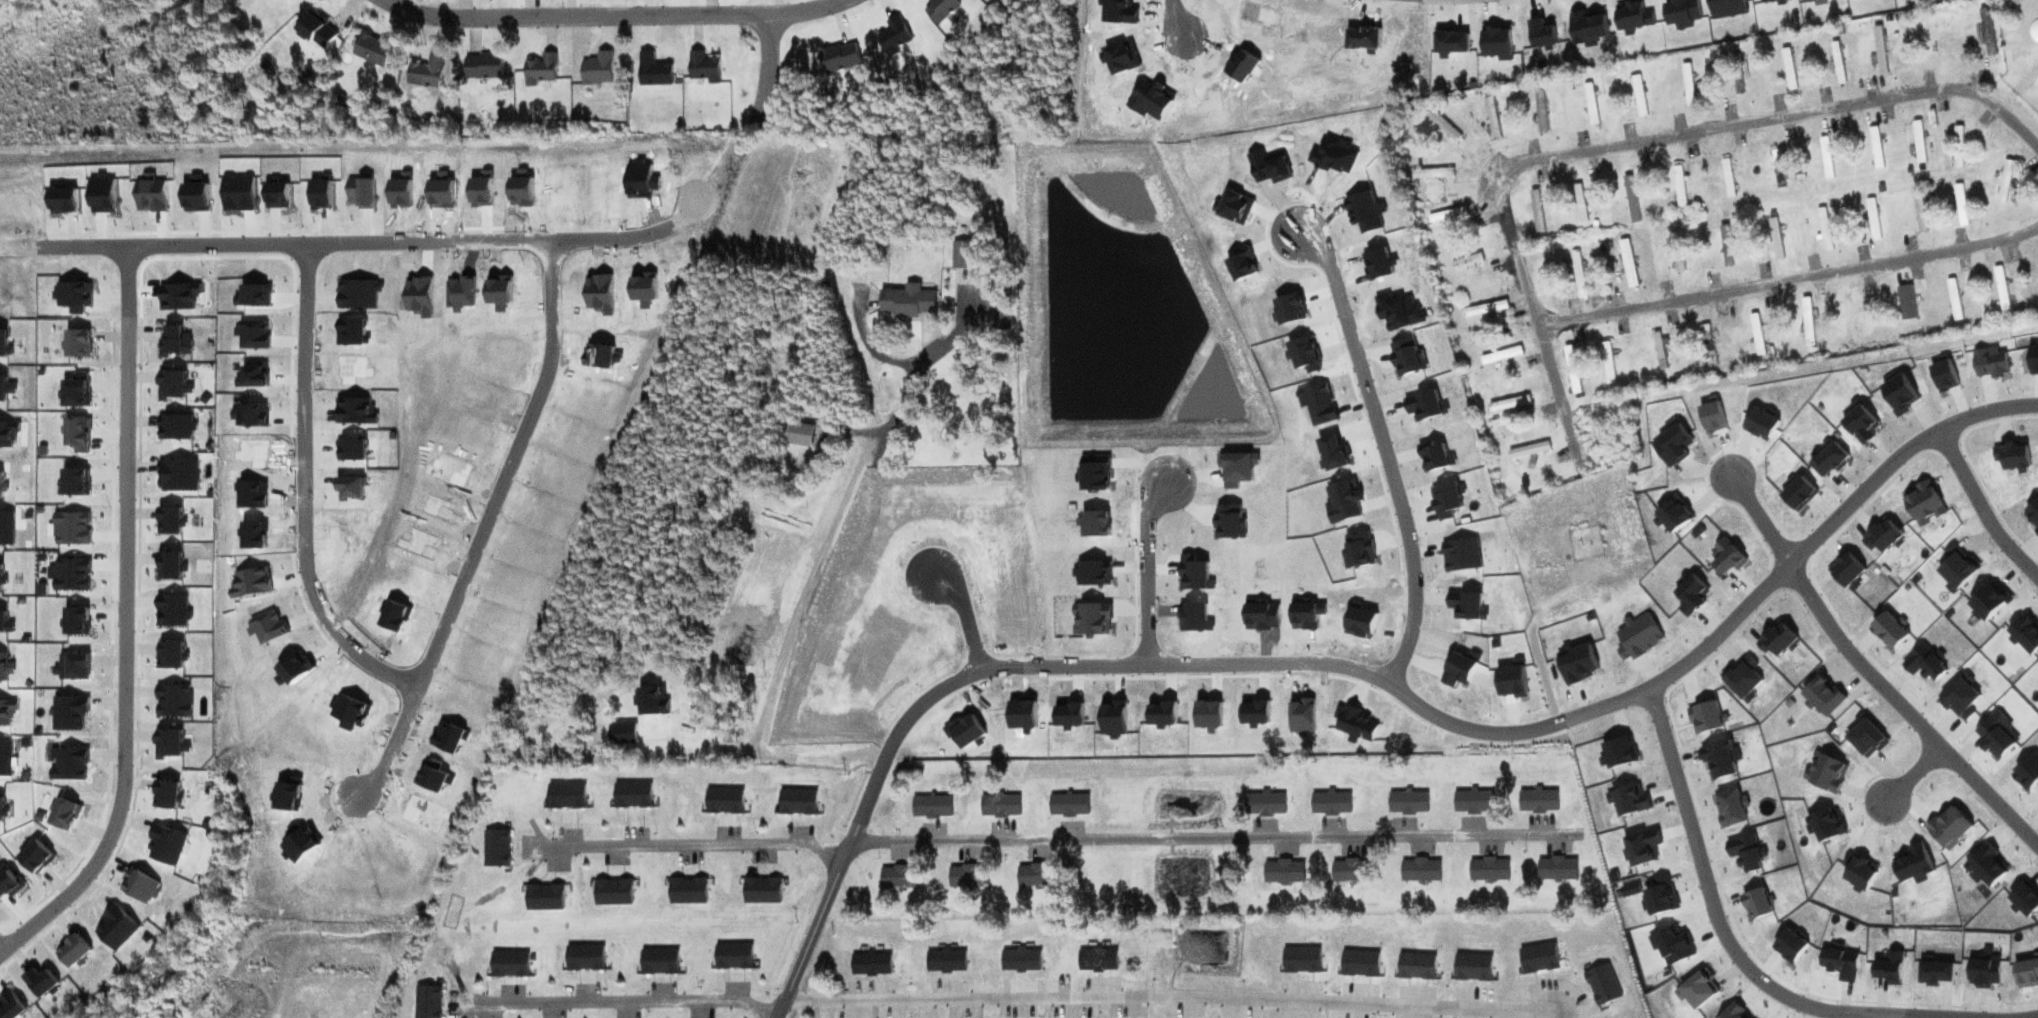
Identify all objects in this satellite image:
road: (615, 15)
road: (1175, 18)
building: (315, 31)
building: (1986, 32)
building: (2037, 36)
building: (894, 37)
building: (372, 50)
building: (1879, 51)
building: (838, 58)
building: (1837, 63)
building: (482, 66)
building: (701, 68)
building: (1788, 69)
building: (539, 70)
building: (652, 71)
road: (767, 72)
building: (426, 73)
building: (1687, 85)
building: (1738, 88)
building: (1821, 95)
building: (1638, 96)
building: (1589, 104)
building: (1540, 111)
road: (1787, 116)
building: (1491, 118)
building: (1442, 125)
building: (1918, 142)
building: (1875, 148)
building: (1957, 148)
building: (1825, 158)
building: (1725, 167)
building: (1432, 173)
building: (1282, 174)
building: (2004, 182)
building: (1678, 187)
building: (1729, 190)
building: (1579, 204)
building: (1960, 206)
building: (1536, 211)
building: (1918, 213)
building: (1446, 215)
building: (1872, 220)
building: (1823, 230)
building: (1774, 240)
road: (336, 243)
building: (1725, 246)
building: (960, 255)
building: (1676, 257)
building: (1465, 262)
building: (1627, 264)
building: (1577, 274)
road: (1789, 279)
building: (2000, 291)
building: (1953, 300)
building: (906, 301)
road: (1531, 302)
building: (1905, 303)
building: (1484, 309)
building: (1856, 315)
building: (1755, 332)
building: (1707, 346)
building: (1658, 351)
building: (1499, 356)
building: (1607, 362)
building: (1571, 369)
building: (1223, 397)
building: (1508, 403)
building: (798, 434)
building: (1528, 450)
building: (1259, 452)
road: (1385, 452)
road: (306, 490)
road: (1982, 505)
road: (1761, 518)
building: (892, 521)
road: (485, 524)
road: (1146, 567)
road: (965, 619)
road: (123, 621)
building: (928, 642)
building: (842, 653)
building: (1139, 658)
building: (1101, 691)
building: (490, 704)
building: (458, 710)
road: (1906, 711)
road: (1486, 732)
road: (1916, 770)
building: (631, 794)
building: (564, 795)
building: (722, 800)
building: (1537, 800)
building: (796, 802)
building: (1407, 802)
building: (1472, 802)
building: (1329, 803)
building: (1066, 804)
building: (1264, 804)
building: (999, 805)
building: (930, 806)
road: (1210, 839)
road: (692, 844)
building: (495, 848)
building: (1488, 869)
building: (1556, 869)
building: (1419, 870)
building: (1347, 871)
building: (1283, 872)
building: (1032, 875)
building: (967, 876)
building: (895, 877)
building: (686, 891)
building: (761, 891)
road: (829, 891)
building: (612, 893)
building: (543, 897)
road: (1732, 947)
building: (732, 956)
building: (583, 957)
building: (1096, 959)
building: (1300, 959)
building: (1019, 960)
building: (944, 961)
building: (658, 962)
building: (869, 963)
building: (1358, 963)
building: (508, 964)
building: (1415, 965)
road: (1172, 996)
building: (427, 1001)
road: (622, 1001)
road: (2027, 1016)

